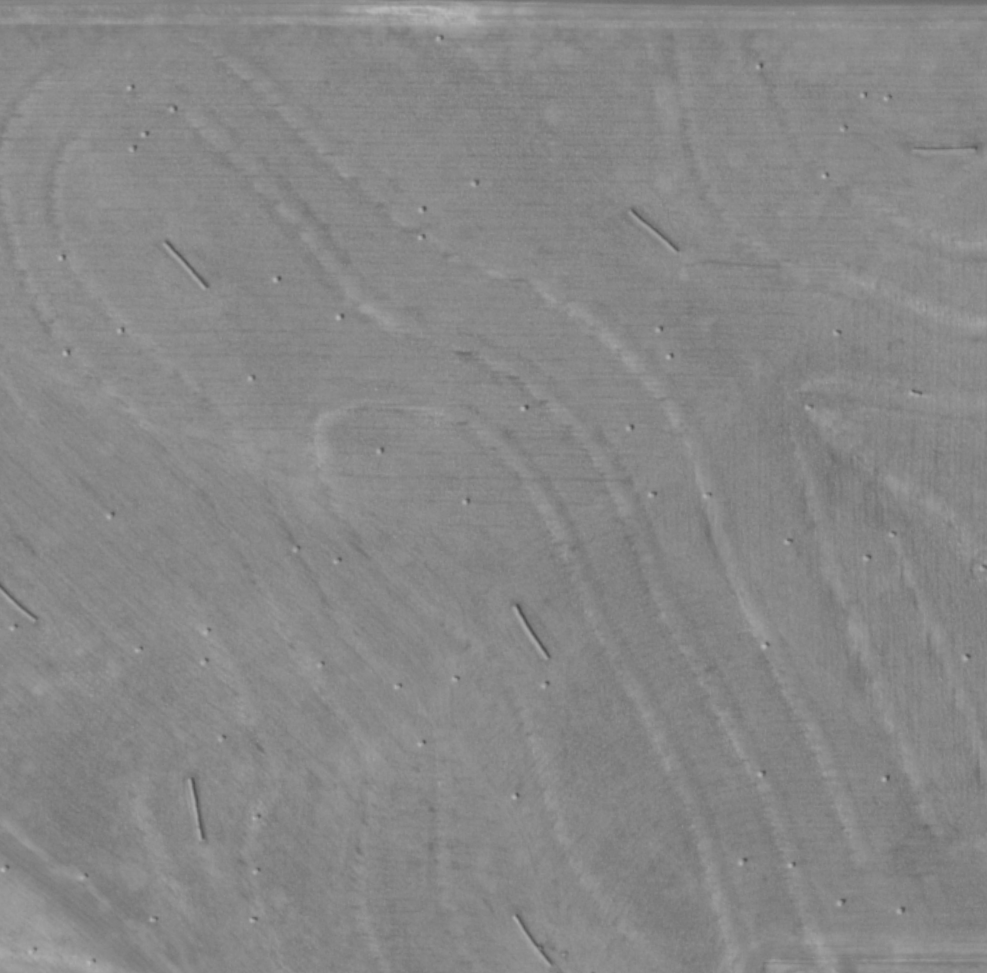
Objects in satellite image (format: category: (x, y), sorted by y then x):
road: (836, 2)

